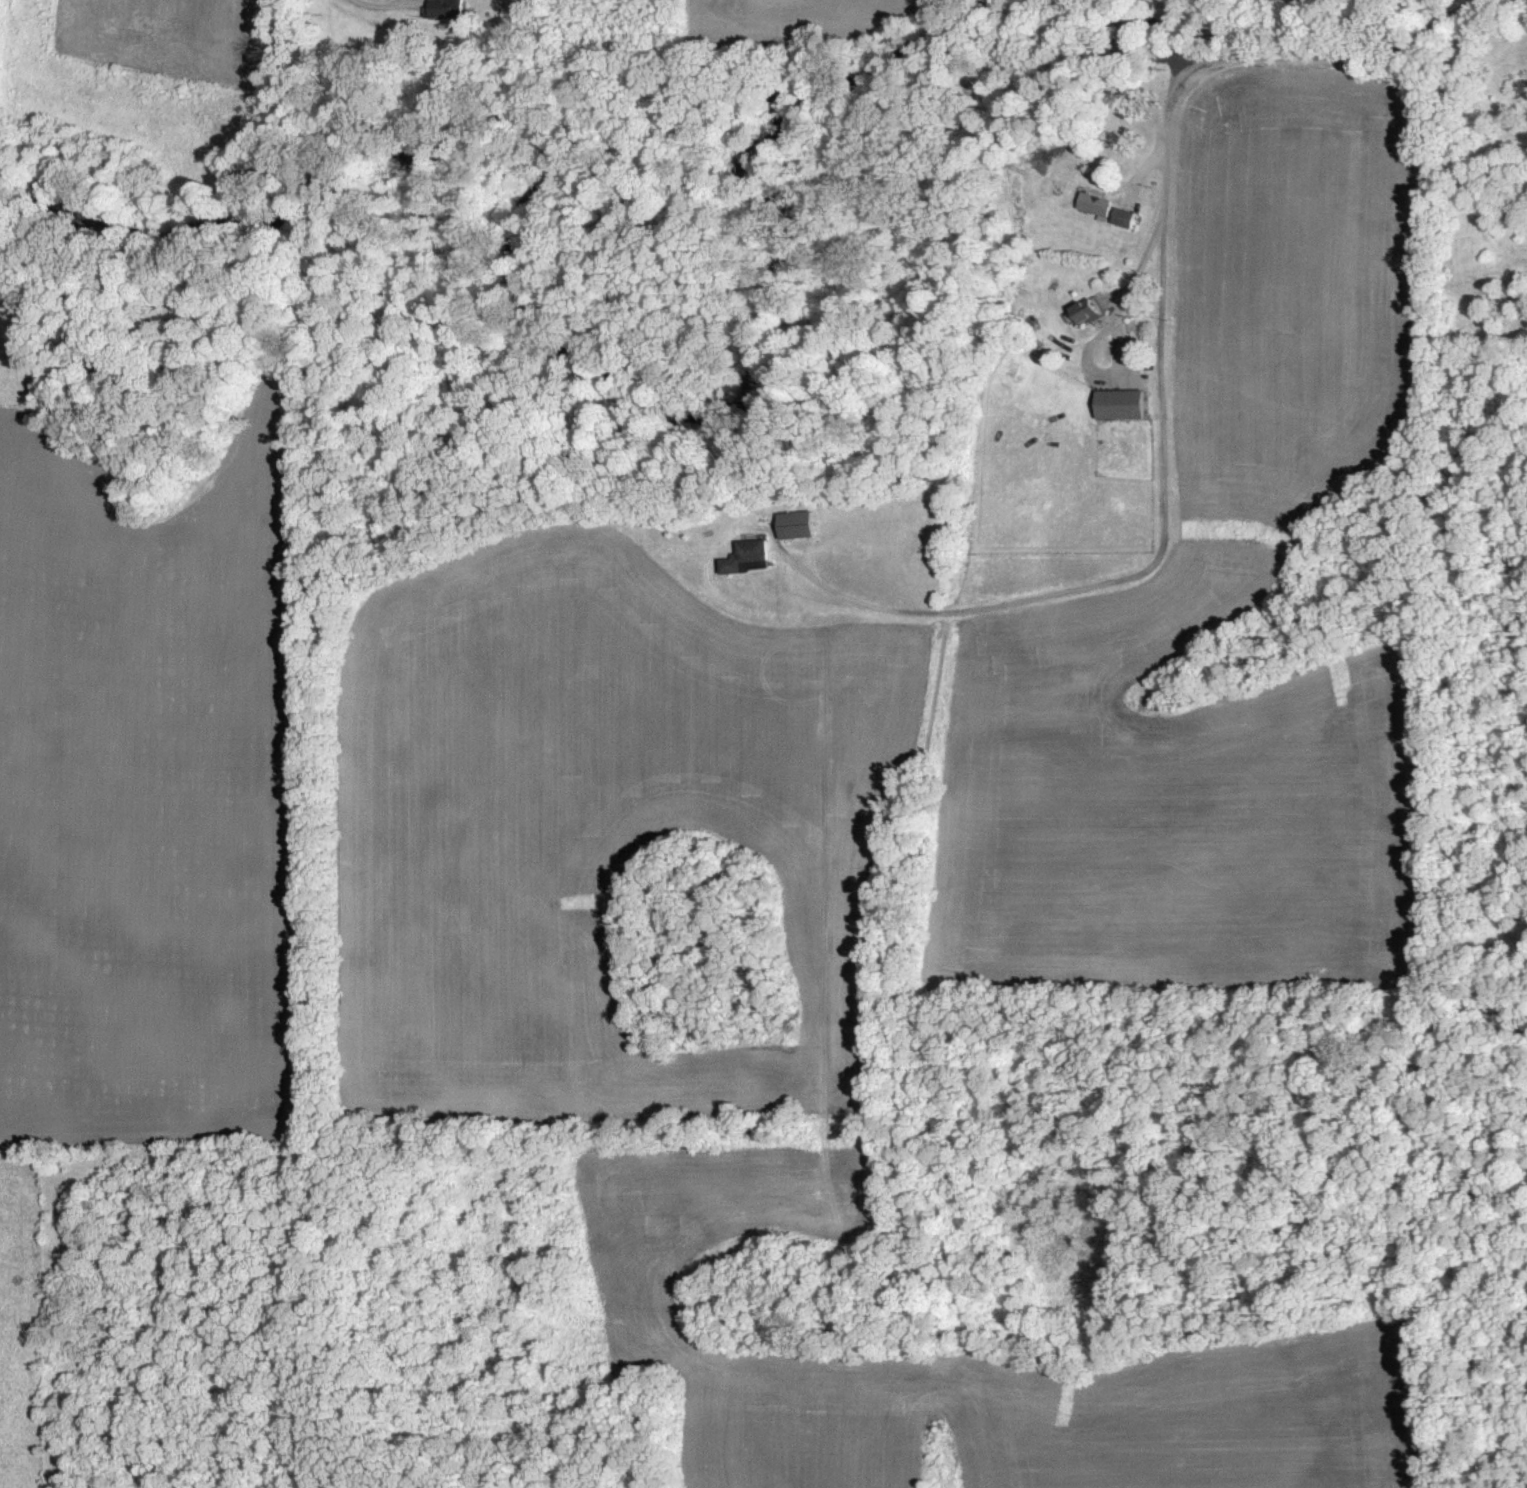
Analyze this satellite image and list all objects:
building: (445, 8)
road: (1257, 55)
building: (1089, 203)
building: (1119, 217)
building: (1079, 311)
building: (1114, 403)
building: (790, 524)
building: (740, 556)

